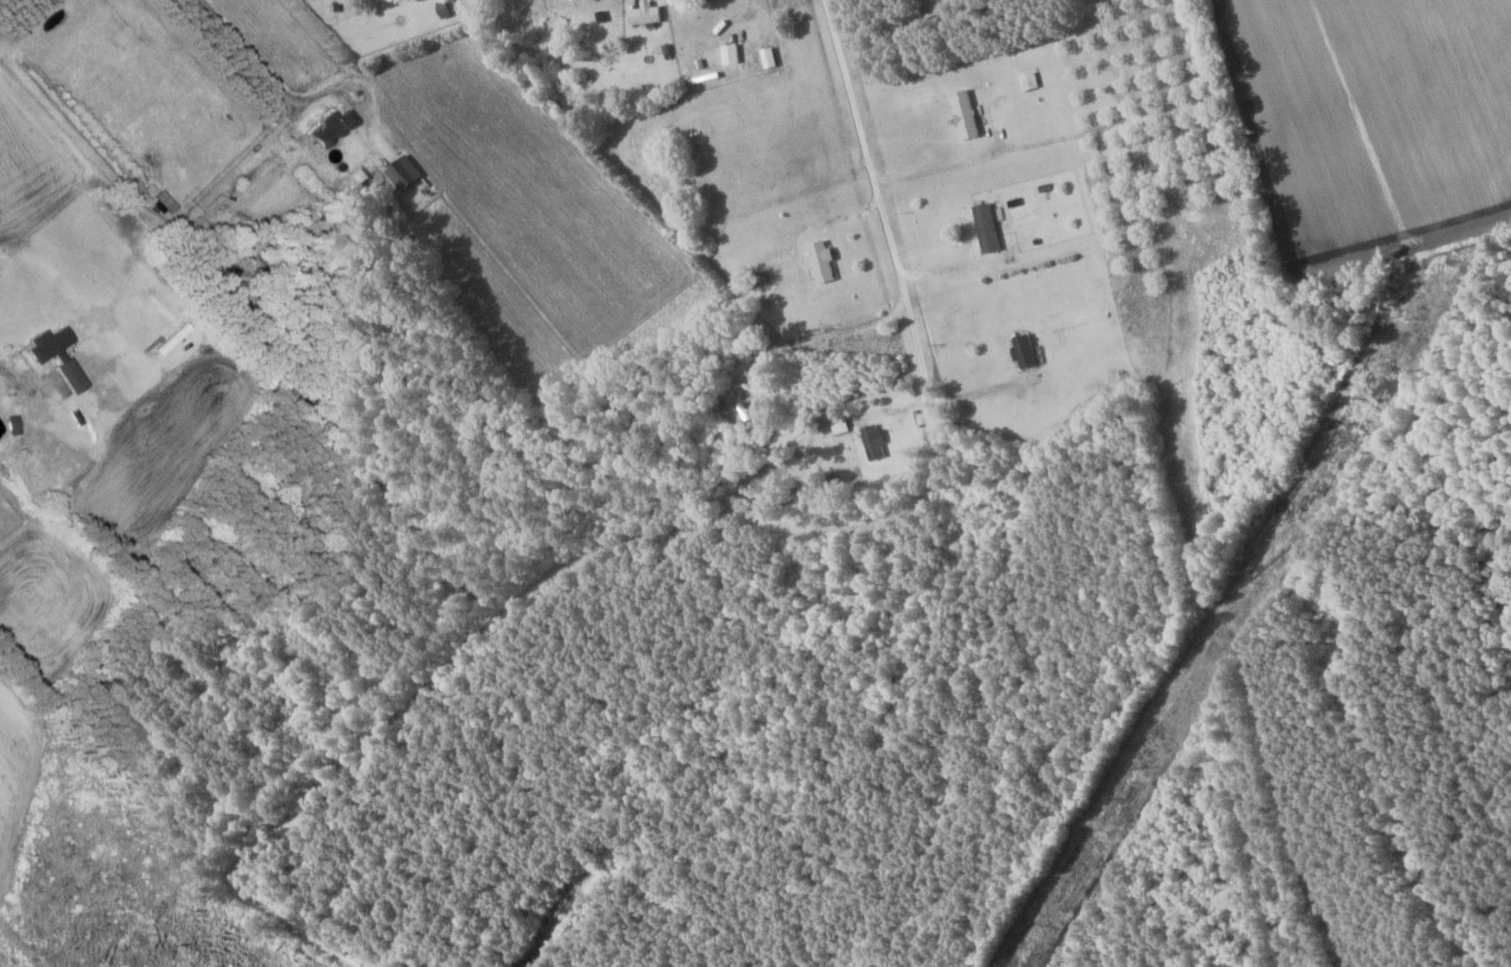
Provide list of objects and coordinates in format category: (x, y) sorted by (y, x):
building: (576, 0)
building: (649, 14)
building: (732, 53)
building: (1031, 81)
building: (968, 114)
building: (680, 127)
building: (333, 129)
building: (990, 227)
building: (825, 261)
road: (892, 261)
building: (1030, 350)
building: (61, 356)
building: (743, 417)
building: (876, 441)

